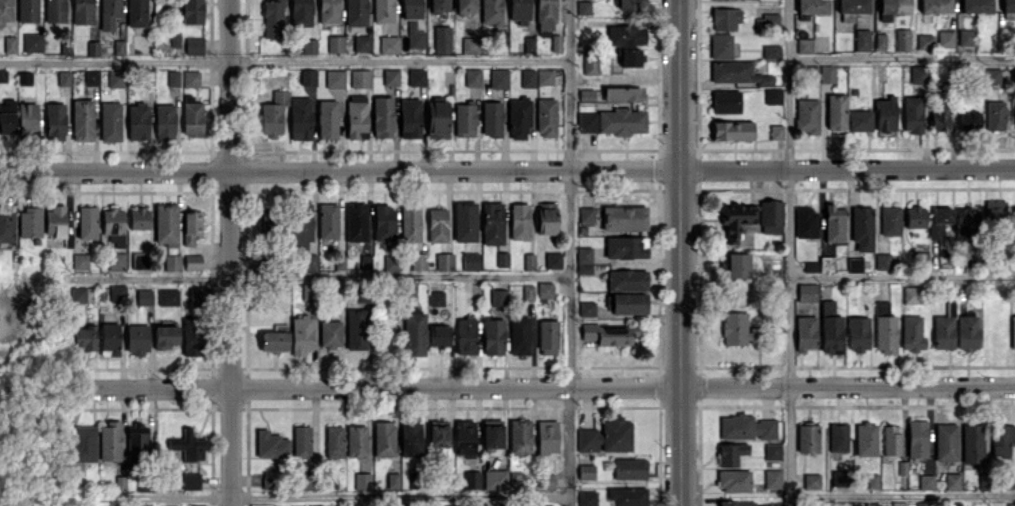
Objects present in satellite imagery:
building: (630, 4)
building: (438, 5)
building: (813, 6)
building: (935, 6)
building: (976, 6)
building: (1008, 6)
building: (464, 7)
building: (583, 7)
building: (892, 8)
building: (852, 9)
building: (491, 11)
building: (518, 11)
building: (545, 16)
building: (725, 18)
building: (766, 22)
building: (625, 34)
building: (966, 37)
building: (945, 38)
building: (442, 39)
building: (862, 39)
building: (902, 39)
building: (880, 40)
building: (924, 41)
building: (529, 44)
building: (469, 45)
building: (804, 45)
building: (720, 46)
building: (771, 51)
building: (629, 56)
road: (901, 58)
road: (283, 59)
building: (590, 65)
building: (737, 73)
building: (827, 73)
building: (918, 74)
building: (990, 75)
building: (472, 77)
building: (527, 77)
building: (544, 77)
building: (498, 78)
building: (1014, 79)
building: (622, 93)
building: (772, 96)
building: (725, 101)
building: (836, 112)
building: (912, 113)
building: (939, 115)
building: (994, 115)
building: (546, 116)
building: (806, 116)
building: (518, 117)
building: (491, 118)
building: (437, 119)
building: (464, 119)
building: (859, 120)
building: (612, 121)
building: (969, 121)
building: (732, 130)
building: (776, 131)
road: (507, 170)
building: (994, 210)
building: (1014, 210)
building: (586, 215)
building: (771, 216)
building: (915, 216)
building: (624, 217)
building: (546, 218)
building: (967, 219)
building: (890, 220)
building: (464, 221)
building: (519, 221)
building: (735, 221)
building: (492, 222)
building: (806, 222)
building: (939, 222)
building: (834, 223)
building: (437, 225)
building: (862, 227)
building: (625, 247)
road: (231, 252)
road: (568, 252)
road: (678, 253)
road: (788, 253)
building: (502, 259)
building: (553, 259)
building: (584, 259)
building: (444, 261)
building: (470, 261)
building: (528, 261)
building: (882, 261)
building: (737, 264)
building: (826, 264)
building: (854, 265)
building: (810, 266)
road: (318, 276)
road: (902, 276)
building: (627, 278)
building: (544, 290)
building: (527, 292)
building: (807, 292)
building: (912, 294)
building: (498, 297)
building: (436, 298)
building: (627, 303)
building: (586, 308)
road: (3, 312)
parking lot: (8, 313)
building: (830, 328)
building: (884, 328)
building: (738, 329)
building: (944, 329)
building: (966, 331)
building: (805, 332)
building: (1012, 332)
building: (857, 333)
building: (911, 333)
building: (608, 334)
building: (439, 335)
building: (465, 335)
building: (519, 335)
building: (493, 336)
building: (547, 337)
road: (546, 386)
building: (746, 427)
building: (438, 433)
building: (491, 433)
building: (547, 436)
building: (606, 436)
building: (520, 437)
building: (838, 437)
building: (917, 437)
building: (464, 438)
building: (807, 438)
building: (866, 438)
building: (891, 439)
building: (1002, 439)
building: (945, 441)
building: (972, 446)
building: (772, 451)
building: (730, 453)
building: (629, 468)
building: (585, 471)
building: (839, 477)
building: (772, 478)
building: (471, 479)
building: (495, 479)
building: (1009, 479)
building: (734, 480)
building: (811, 480)
building: (952, 480)
building: (544, 481)
building: (925, 481)
road: (323, 495)
road: (902, 495)
building: (627, 496)
building: (587, 498)
building: (736, 503)
building: (923, 503)
building: (955, 503)
building: (871, 504)
building: (895, 504)
building: (1010, 504)
building: (442, 505)
building: (545, 505)

